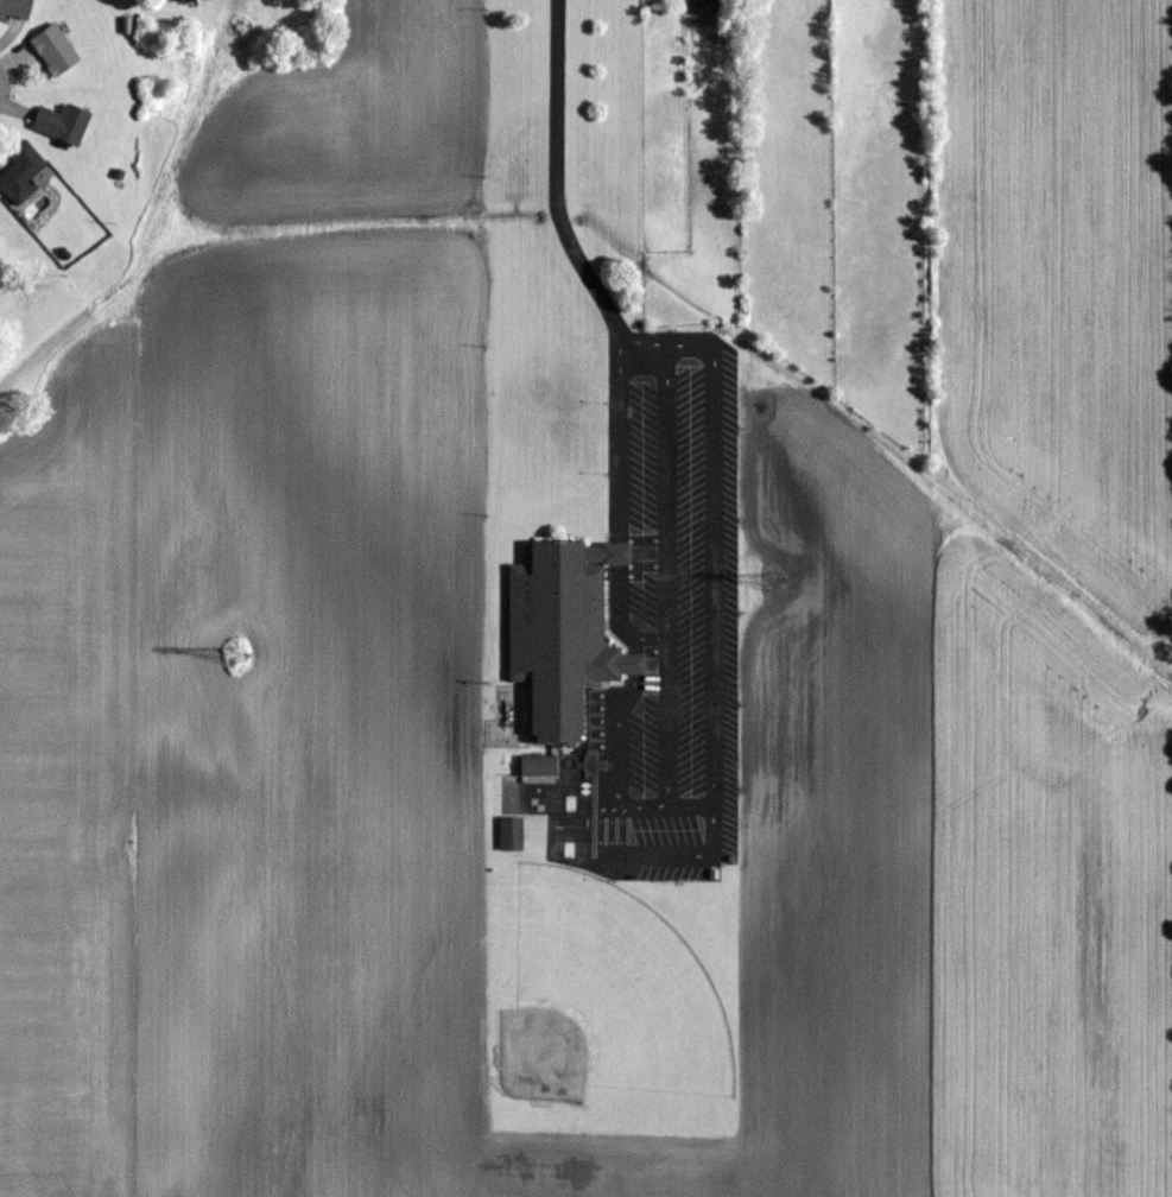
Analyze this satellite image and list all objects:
building: (183, 0)
building: (708, 1)
building: (17, 7)
building: (55, 49)
road: (6, 83)
building: (63, 121)
building: (21, 170)
road: (558, 198)
road: (619, 430)
road: (619, 547)
power tower: (771, 584)
road: (620, 608)
building: (559, 633)
power tower: (232, 653)
road: (632, 663)
road: (619, 743)
building: (537, 765)
building: (508, 832)
road: (650, 855)
park: (581, 1020)

